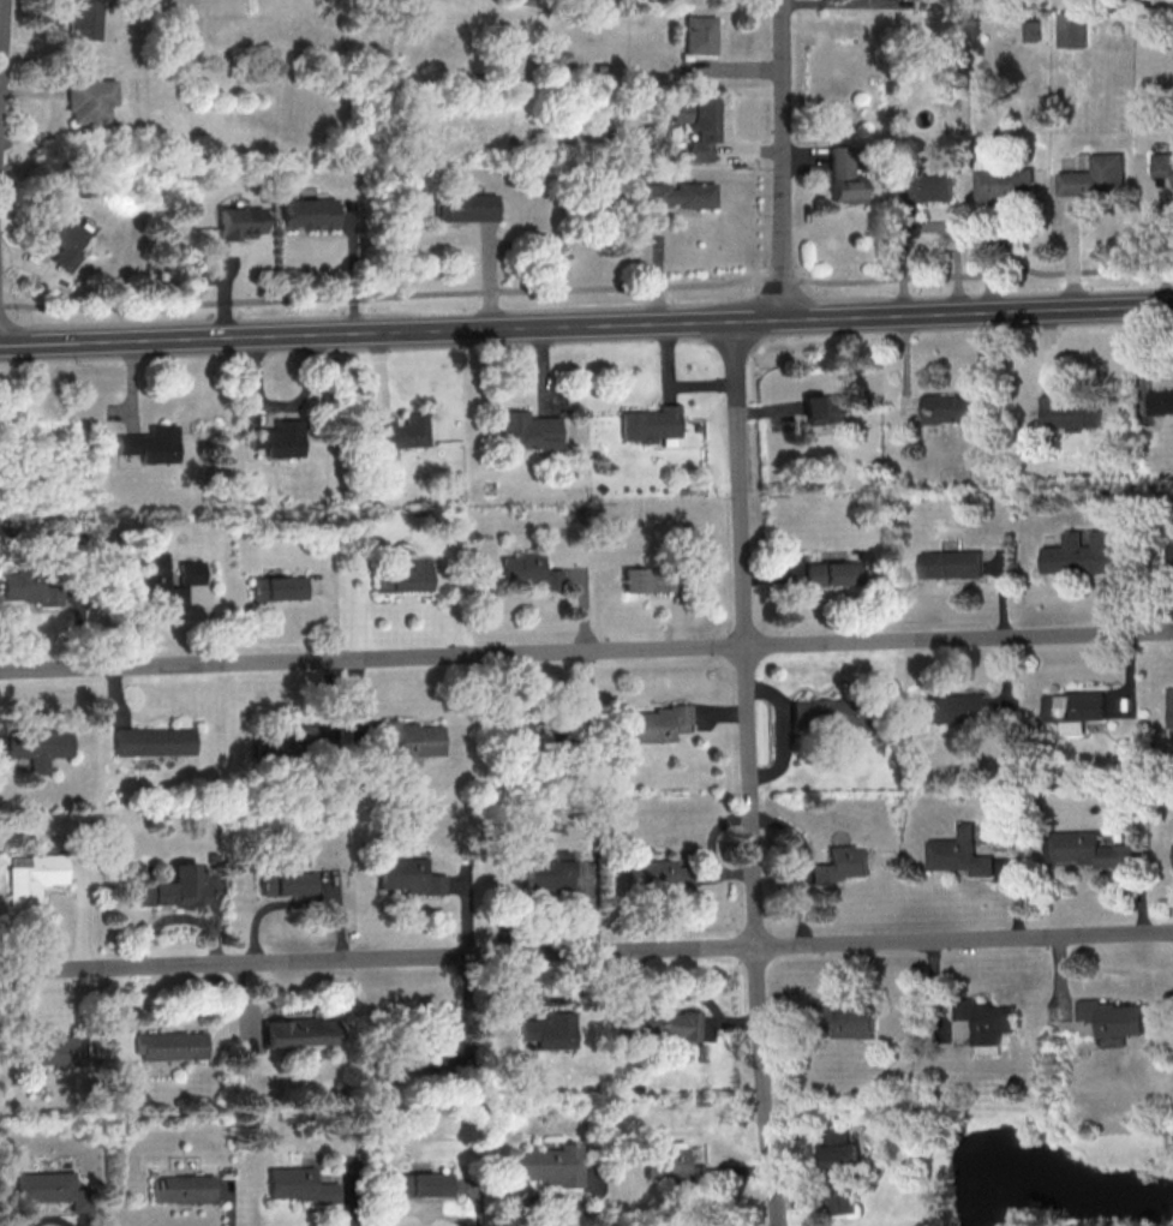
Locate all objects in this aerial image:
building: (85, 20)
building: (1075, 31)
building: (699, 36)
road: (1, 47)
building: (89, 102)
road: (726, 125)
building: (695, 127)
road: (783, 159)
building: (1165, 171)
building: (842, 179)
building: (1097, 180)
building: (1006, 186)
building: (927, 187)
building: (678, 196)
building: (463, 209)
building: (306, 215)
building: (239, 225)
building: (60, 237)
road: (587, 291)
road: (586, 324)
building: (1162, 403)
building: (953, 409)
building: (824, 412)
building: (1073, 415)
building: (650, 425)
building: (399, 433)
building: (526, 433)
building: (276, 442)
building: (150, 448)
building: (1083, 555)
building: (1171, 555)
building: (953, 564)
building: (525, 573)
building: (830, 575)
building: (403, 579)
building: (651, 580)
building: (162, 582)
building: (26, 585)
building: (276, 590)
road: (586, 651)
building: (1075, 707)
building: (1169, 708)
building: (952, 710)
building: (830, 713)
building: (657, 724)
building: (412, 737)
building: (154, 742)
building: (307, 742)
building: (37, 747)
road: (749, 772)
building: (1094, 851)
building: (960, 855)
building: (843, 866)
building: (657, 874)
building: (543, 875)
building: (409, 878)
building: (30, 879)
building: (287, 885)
building: (172, 889)
road: (586, 951)
building: (987, 1015)
building: (1114, 1017)
building: (845, 1019)
building: (659, 1025)
building: (549, 1031)
building: (298, 1033)
building: (169, 1046)
building: (52, 1052)
building: (411, 1057)
building: (549, 1166)
building: (669, 1170)
building: (840, 1171)
building: (424, 1185)
building: (297, 1186)
building: (46, 1189)
building: (178, 1190)

